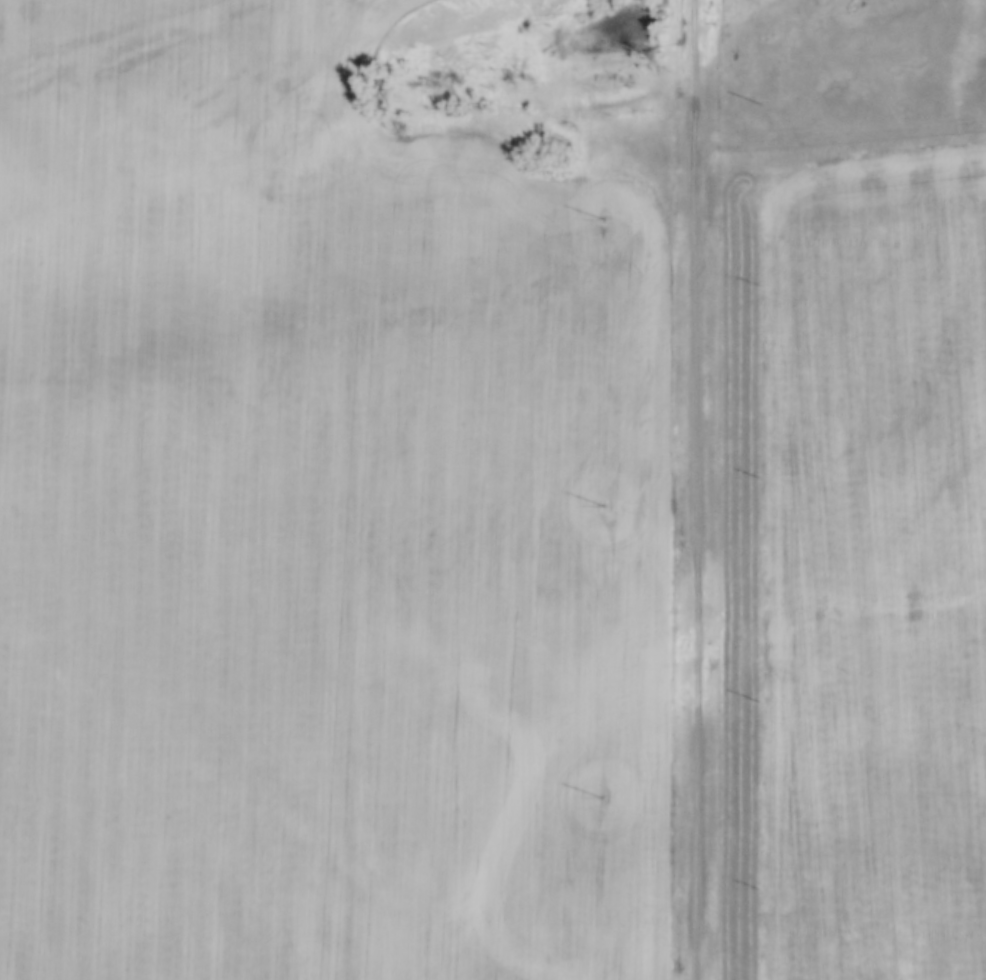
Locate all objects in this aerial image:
road: (696, 490)

